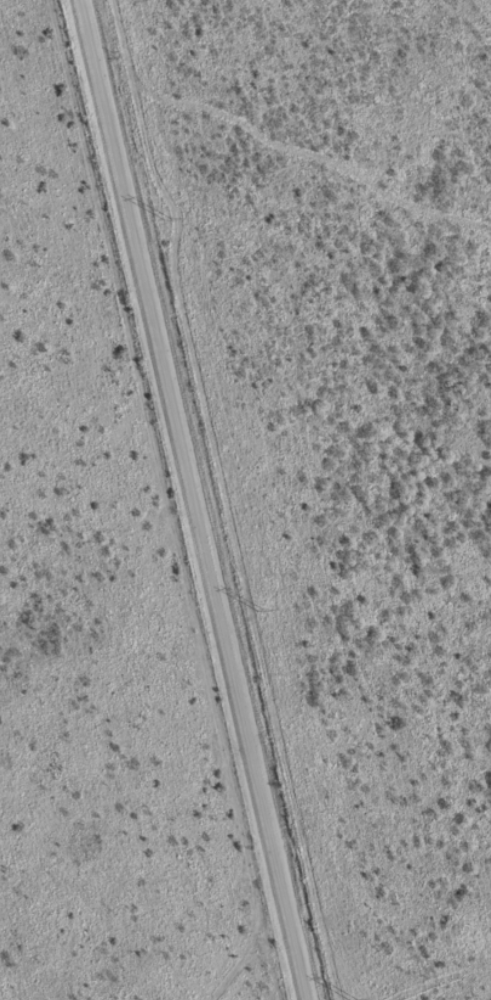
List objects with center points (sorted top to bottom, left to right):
road: (166, 500)

